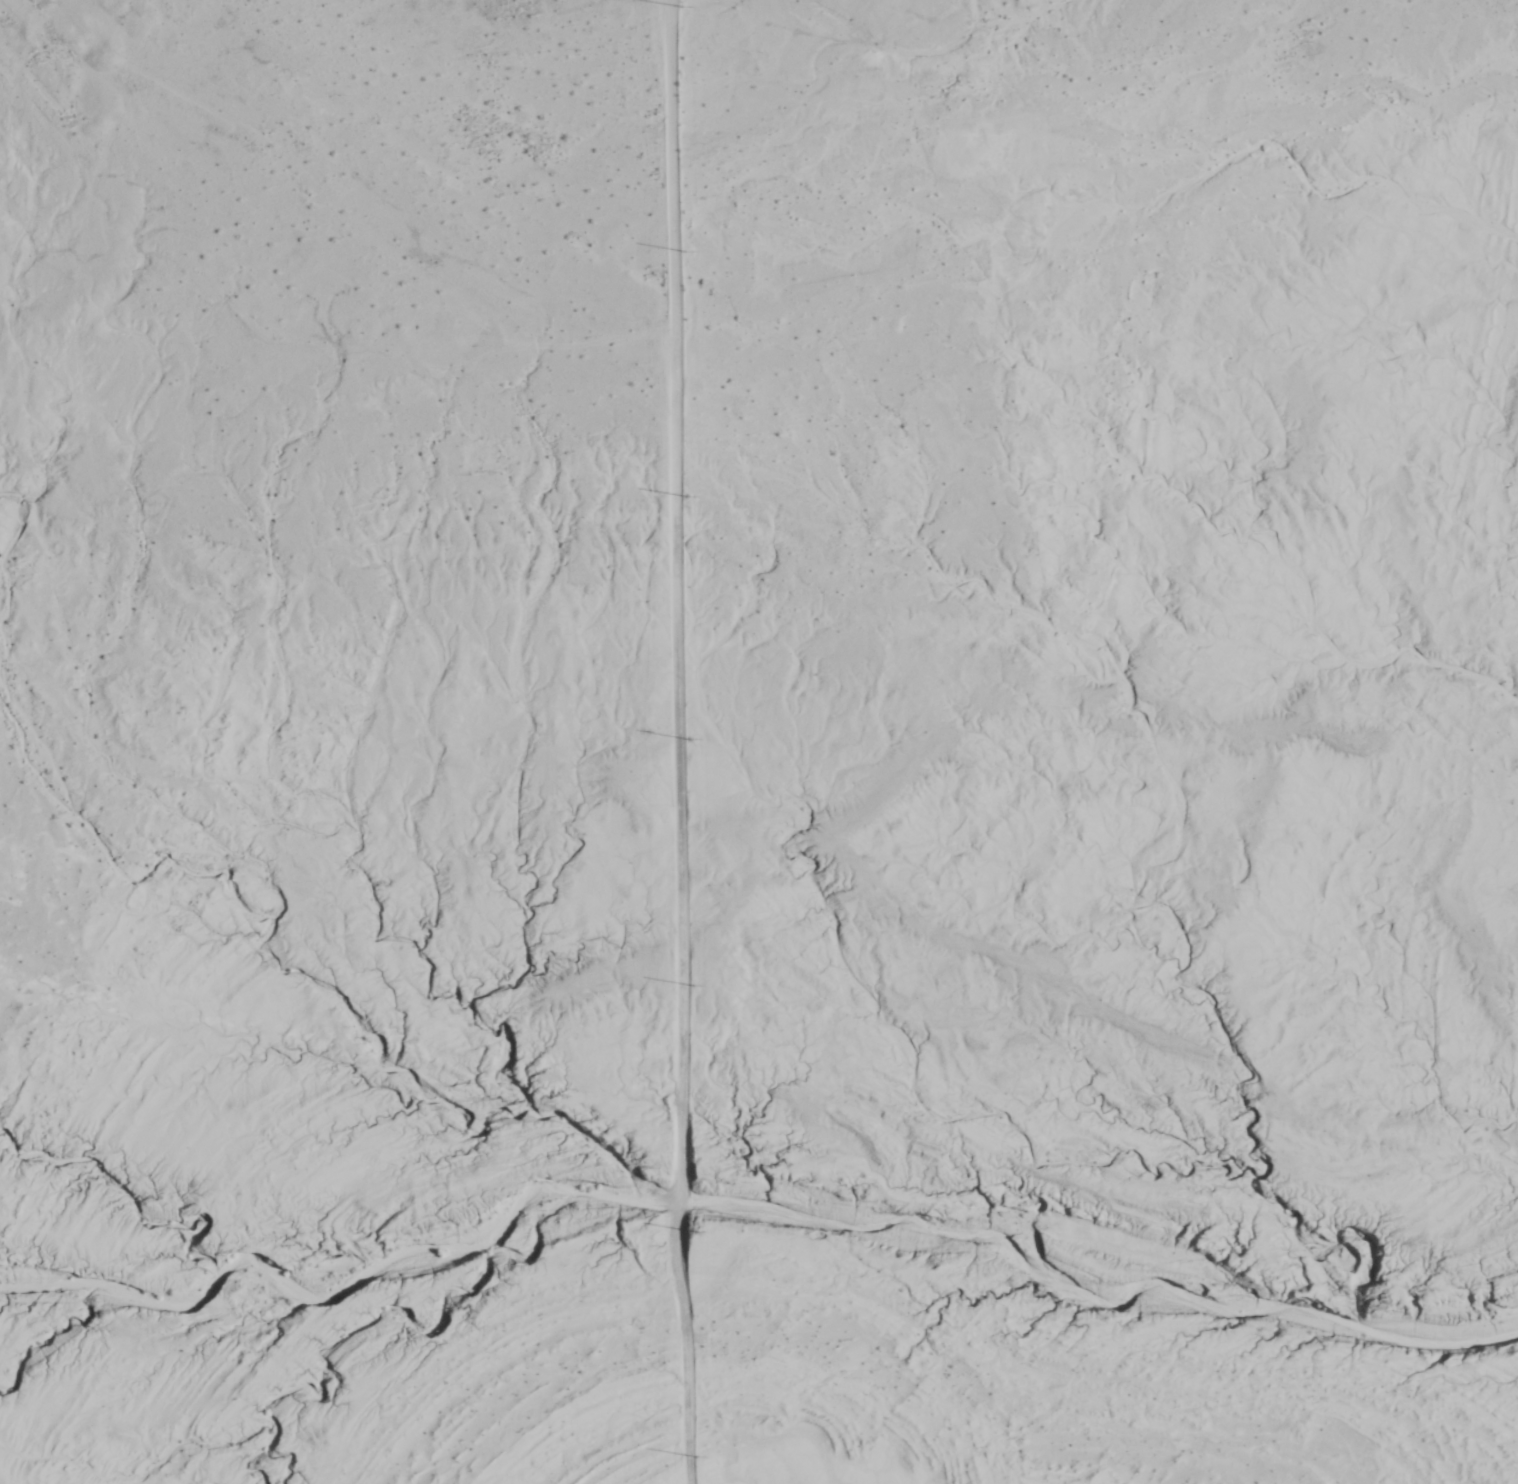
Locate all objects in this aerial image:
road: (678, 742)

